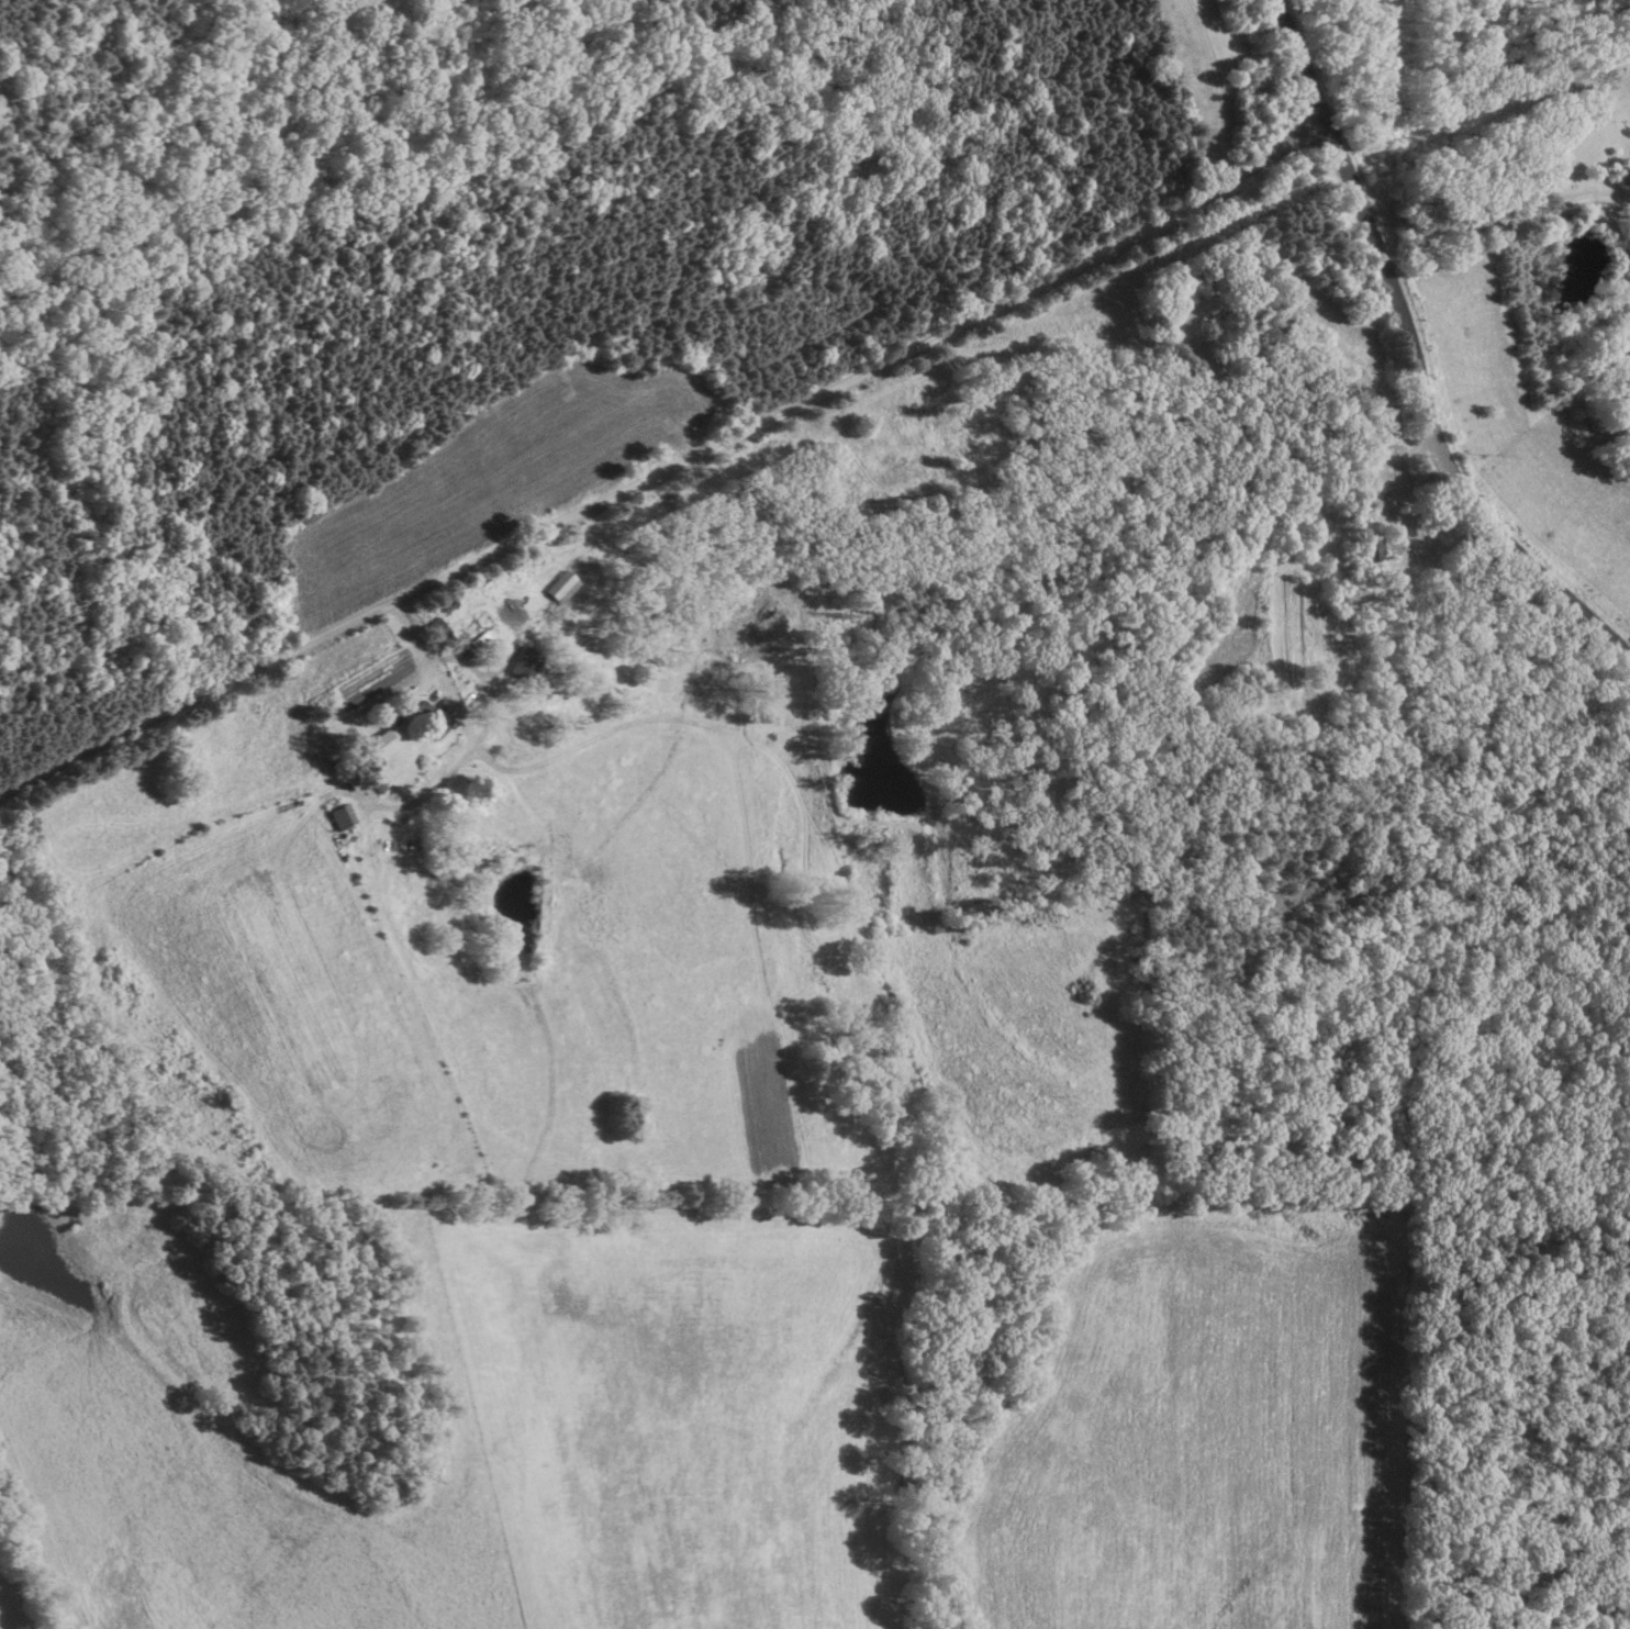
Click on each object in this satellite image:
road: (1257, 69)
road: (1218, 88)
road: (1492, 220)
road: (799, 331)
building: (1360, 401)
road: (1434, 410)
road: (660, 457)
building: (1370, 551)
building: (559, 588)
building: (1336, 602)
building: (436, 635)
building: (522, 663)
building: (427, 722)
building: (379, 746)

